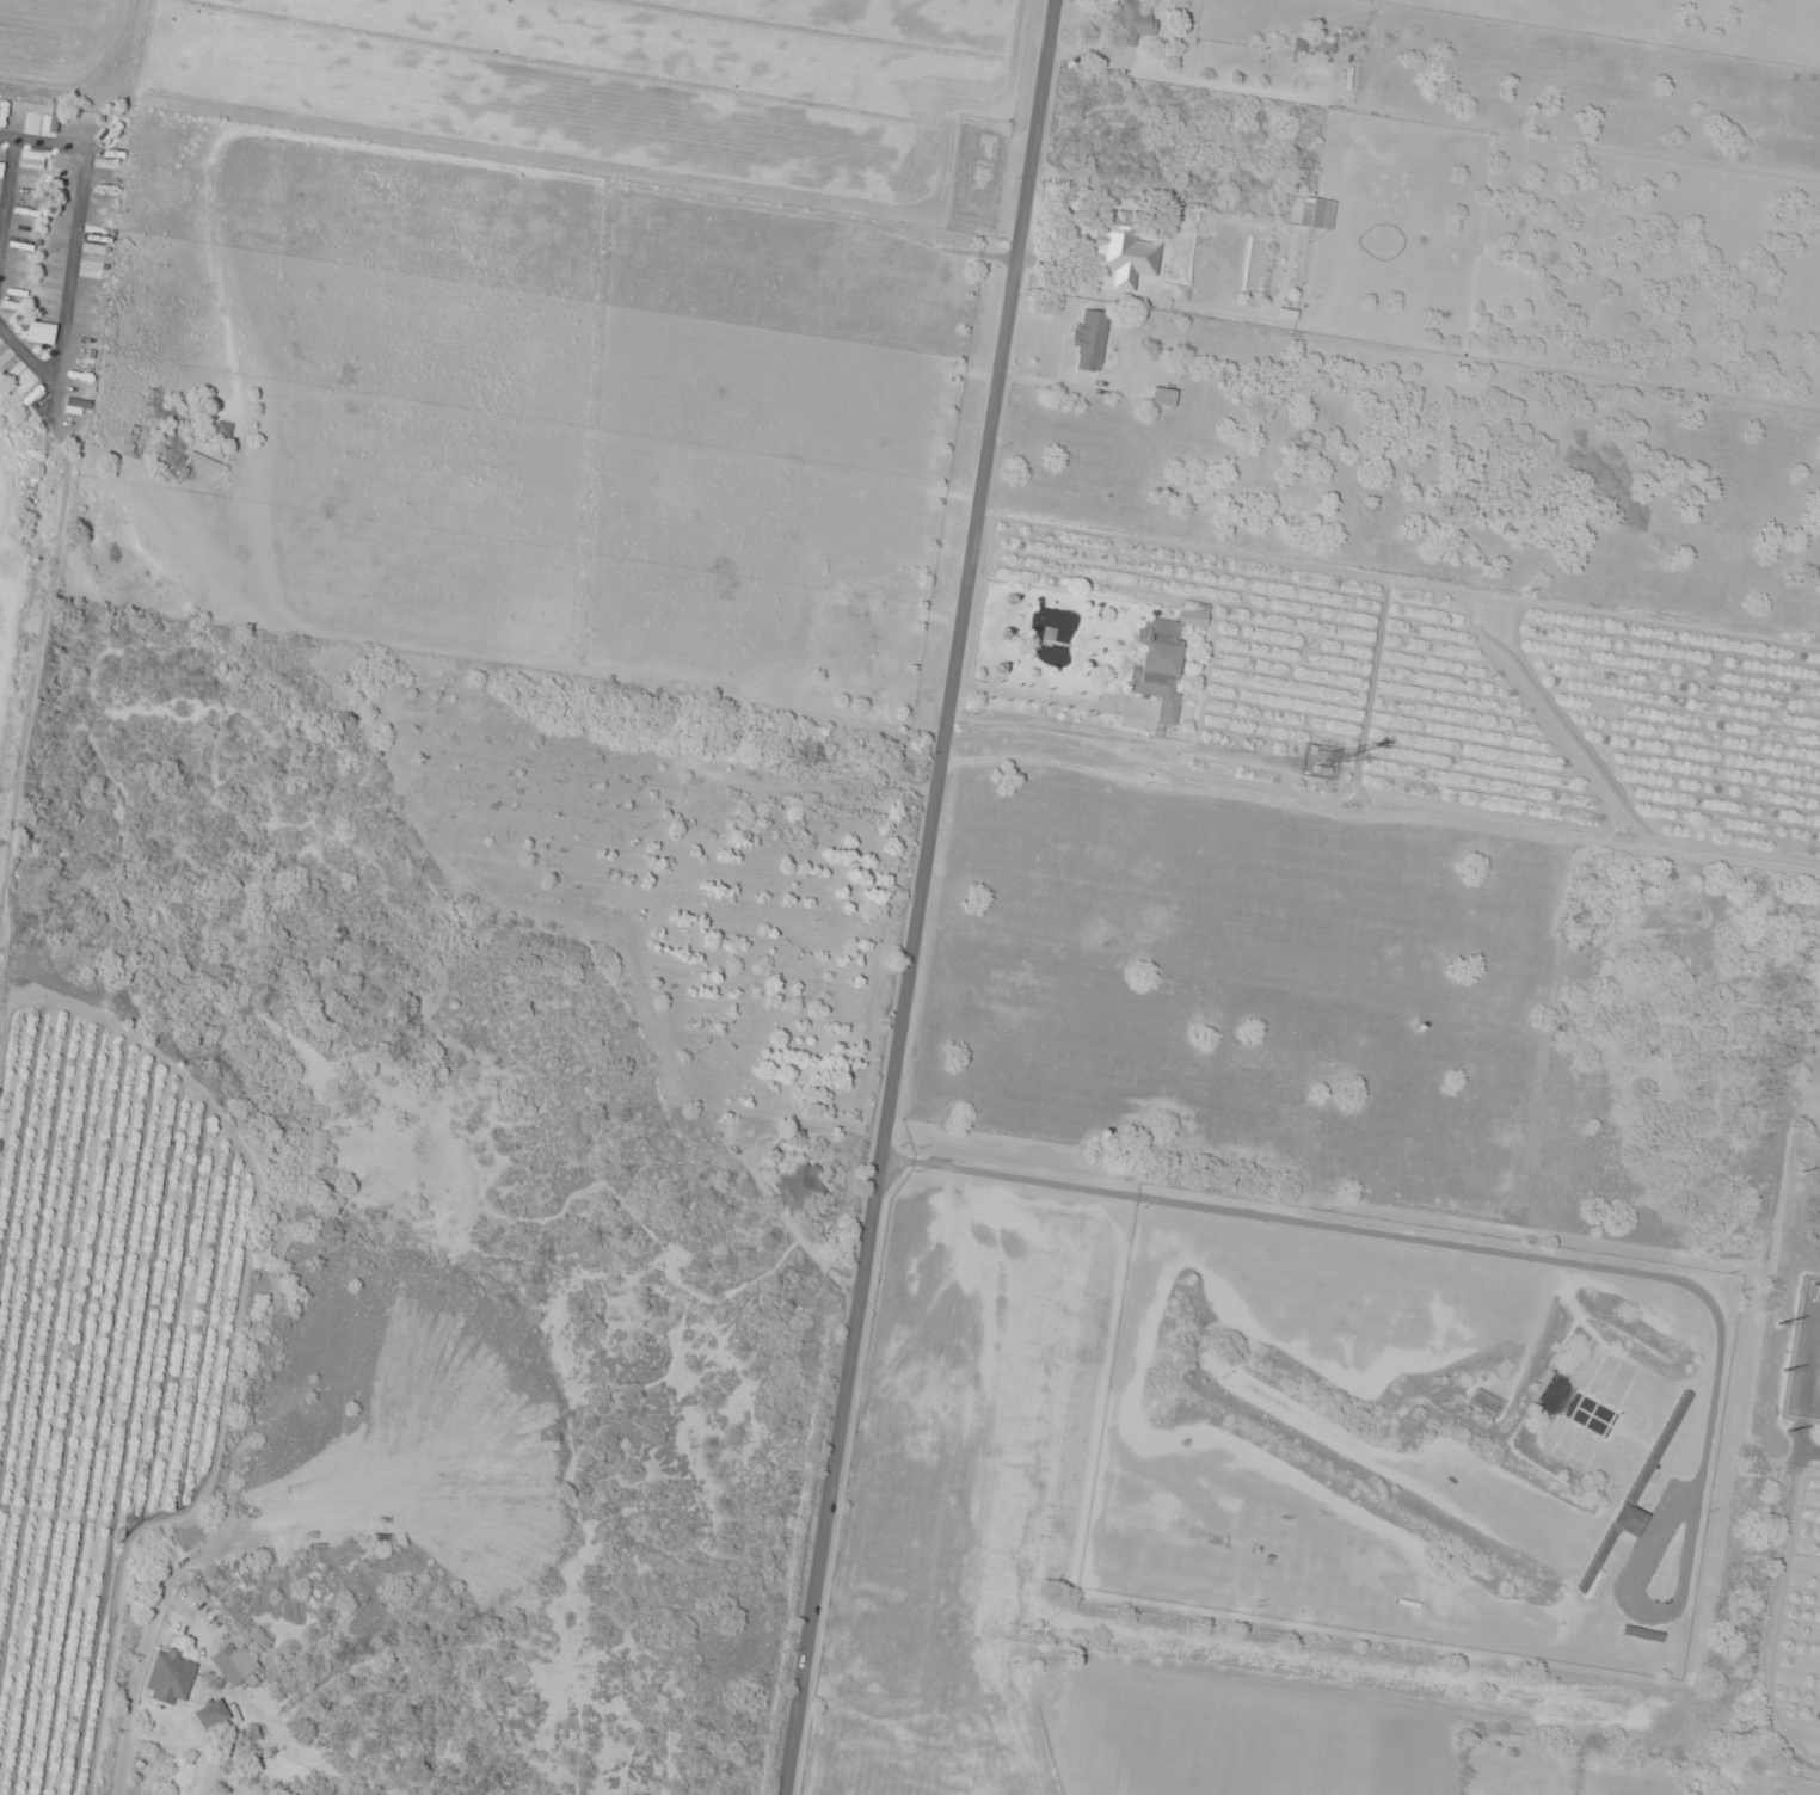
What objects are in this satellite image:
building: (1132, 23)
building: (1311, 44)
building: (31, 117)
building: (51, 119)
road: (47, 146)
building: (32, 159)
building: (1312, 213)
road: (13, 236)
building: (1125, 252)
road: (79, 275)
building: (1089, 339)
road: (31, 359)
building: (223, 430)
road: (37, 644)
building: (1157, 666)
road: (921, 897)
building: (799, 1186)
power substation: (1807, 1356)
building: (1487, 1402)
building: (1610, 1542)
building: (1641, 1633)
building: (235, 1665)
building: (170, 1678)
building: (210, 1714)

